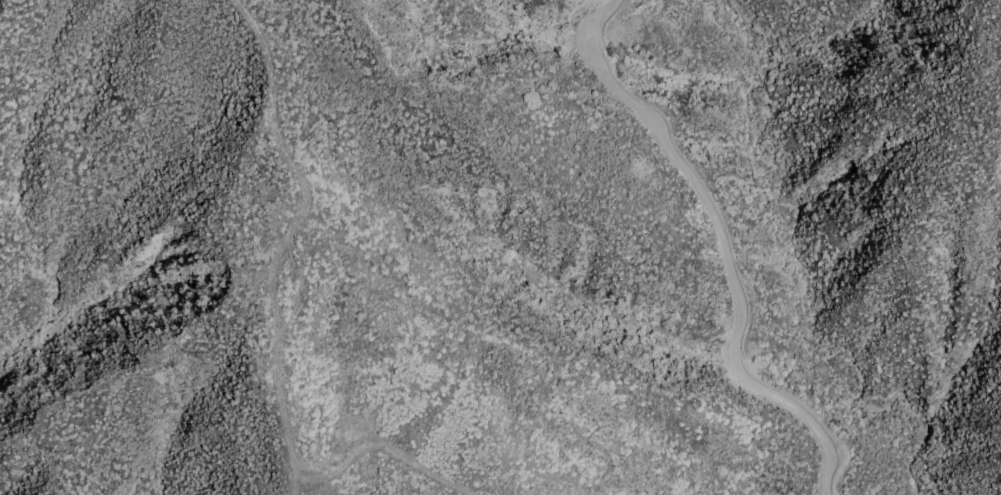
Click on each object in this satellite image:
road: (723, 244)

